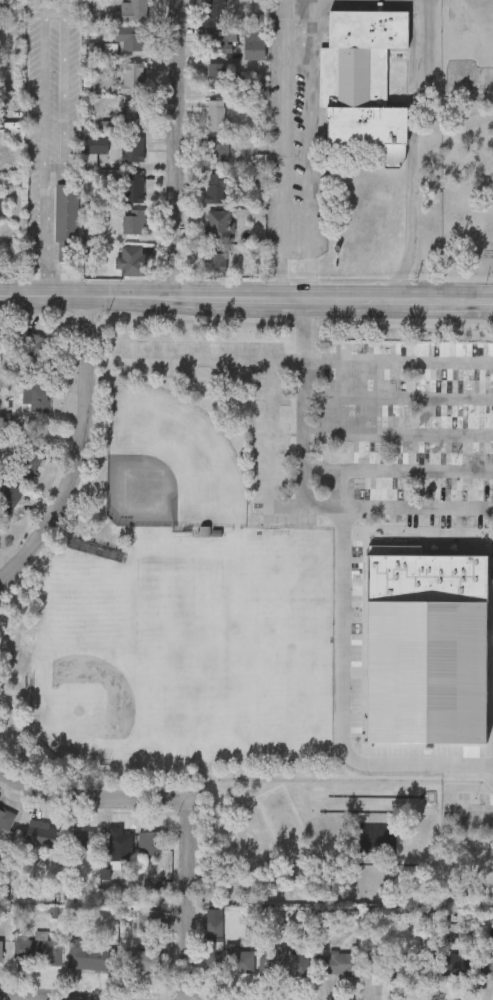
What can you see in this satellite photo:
road: (412, 5)
building: (131, 9)
building: (217, 10)
building: (130, 35)
building: (220, 39)
building: (253, 42)
road: (45, 61)
building: (218, 74)
building: (132, 75)
building: (362, 78)
building: (130, 112)
building: (216, 113)
building: (94, 145)
building: (132, 145)
building: (218, 148)
road: (175, 150)
road: (283, 150)
road: (311, 150)
road: (411, 156)
building: (133, 185)
building: (217, 186)
building: (66, 218)
building: (133, 219)
building: (218, 224)
building: (214, 257)
building: (131, 259)
road: (246, 301)
building: (35, 345)
road: (225, 358)
road: (399, 359)
building: (35, 393)
parking lot: (358, 423)
building: (435, 429)
building: (436, 450)
road: (72, 451)
building: (28, 461)
park: (169, 465)
building: (477, 475)
road: (305, 496)
building: (8, 498)
building: (205, 532)
building: (424, 648)
road: (351, 700)
road: (336, 780)
road: (91, 796)
road: (462, 797)
road: (477, 812)
building: (6, 818)
building: (40, 833)
building: (81, 840)
building: (151, 841)
building: (116, 844)
road: (188, 900)
building: (214, 928)
building: (37, 948)
building: (1, 949)
building: (91, 955)
building: (143, 958)
building: (229, 959)
building: (282, 960)
building: (342, 961)
building: (392, 962)
building: (444, 962)
building: (486, 963)
road: (35, 995)

